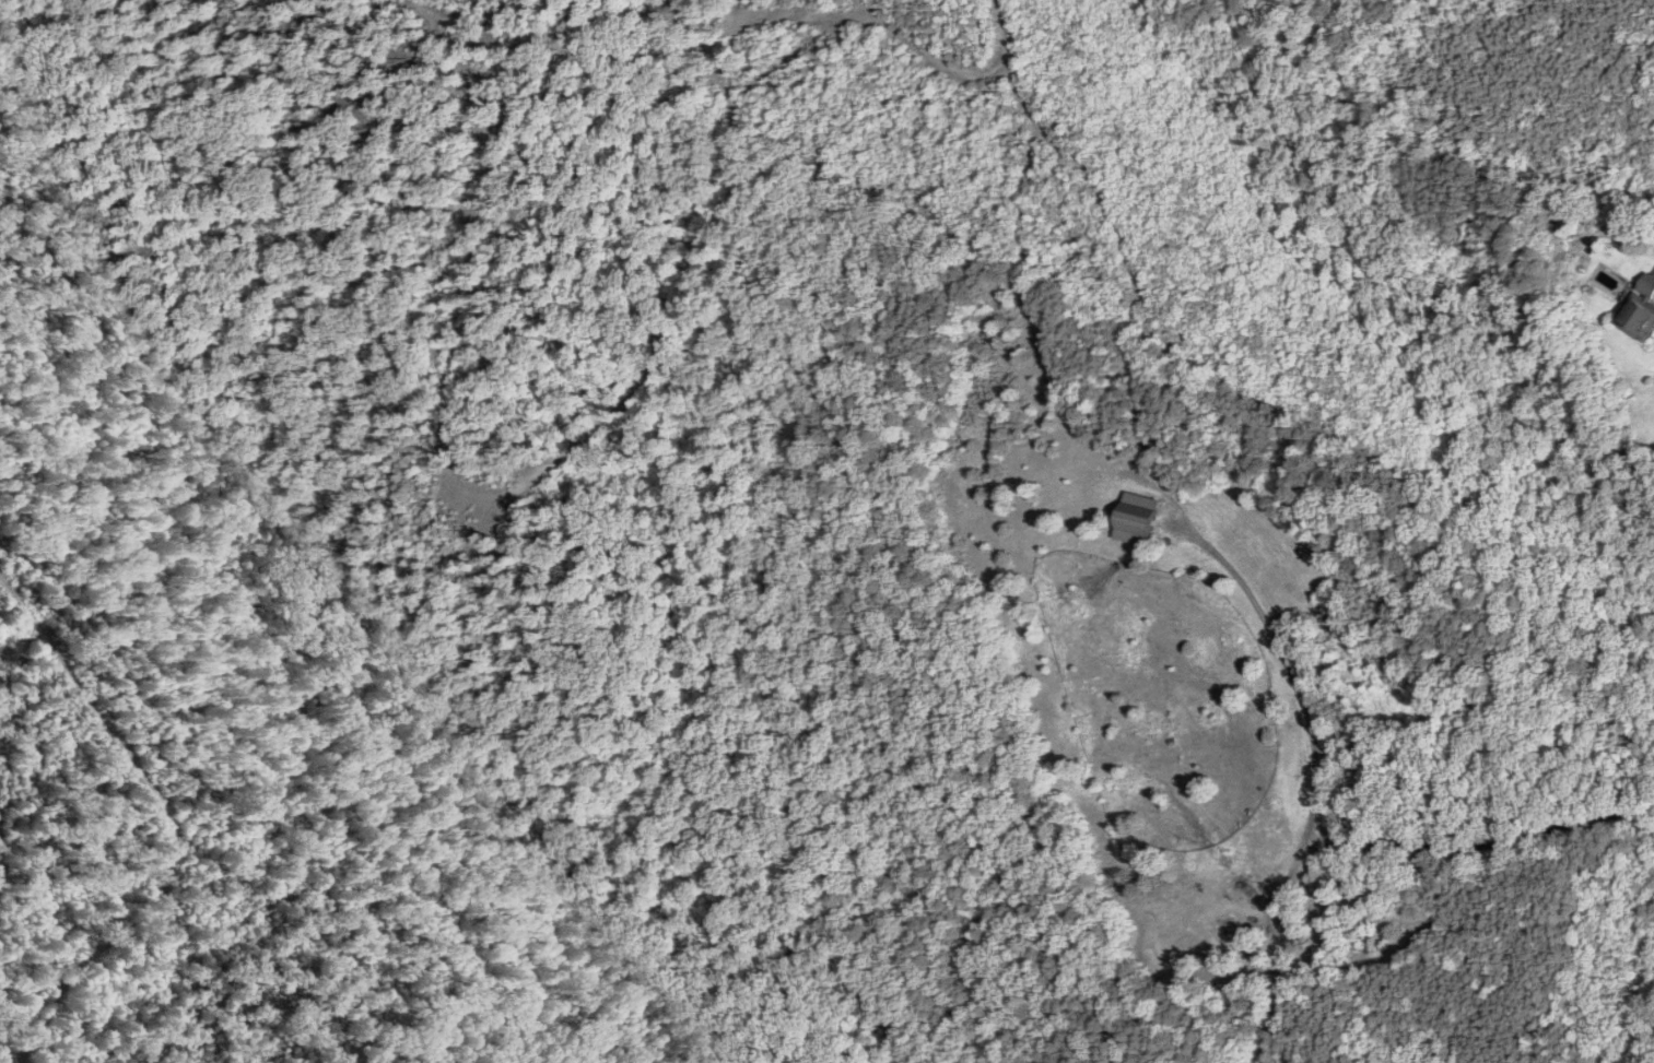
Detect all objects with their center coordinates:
building: (1640, 309)
building: (1136, 518)

